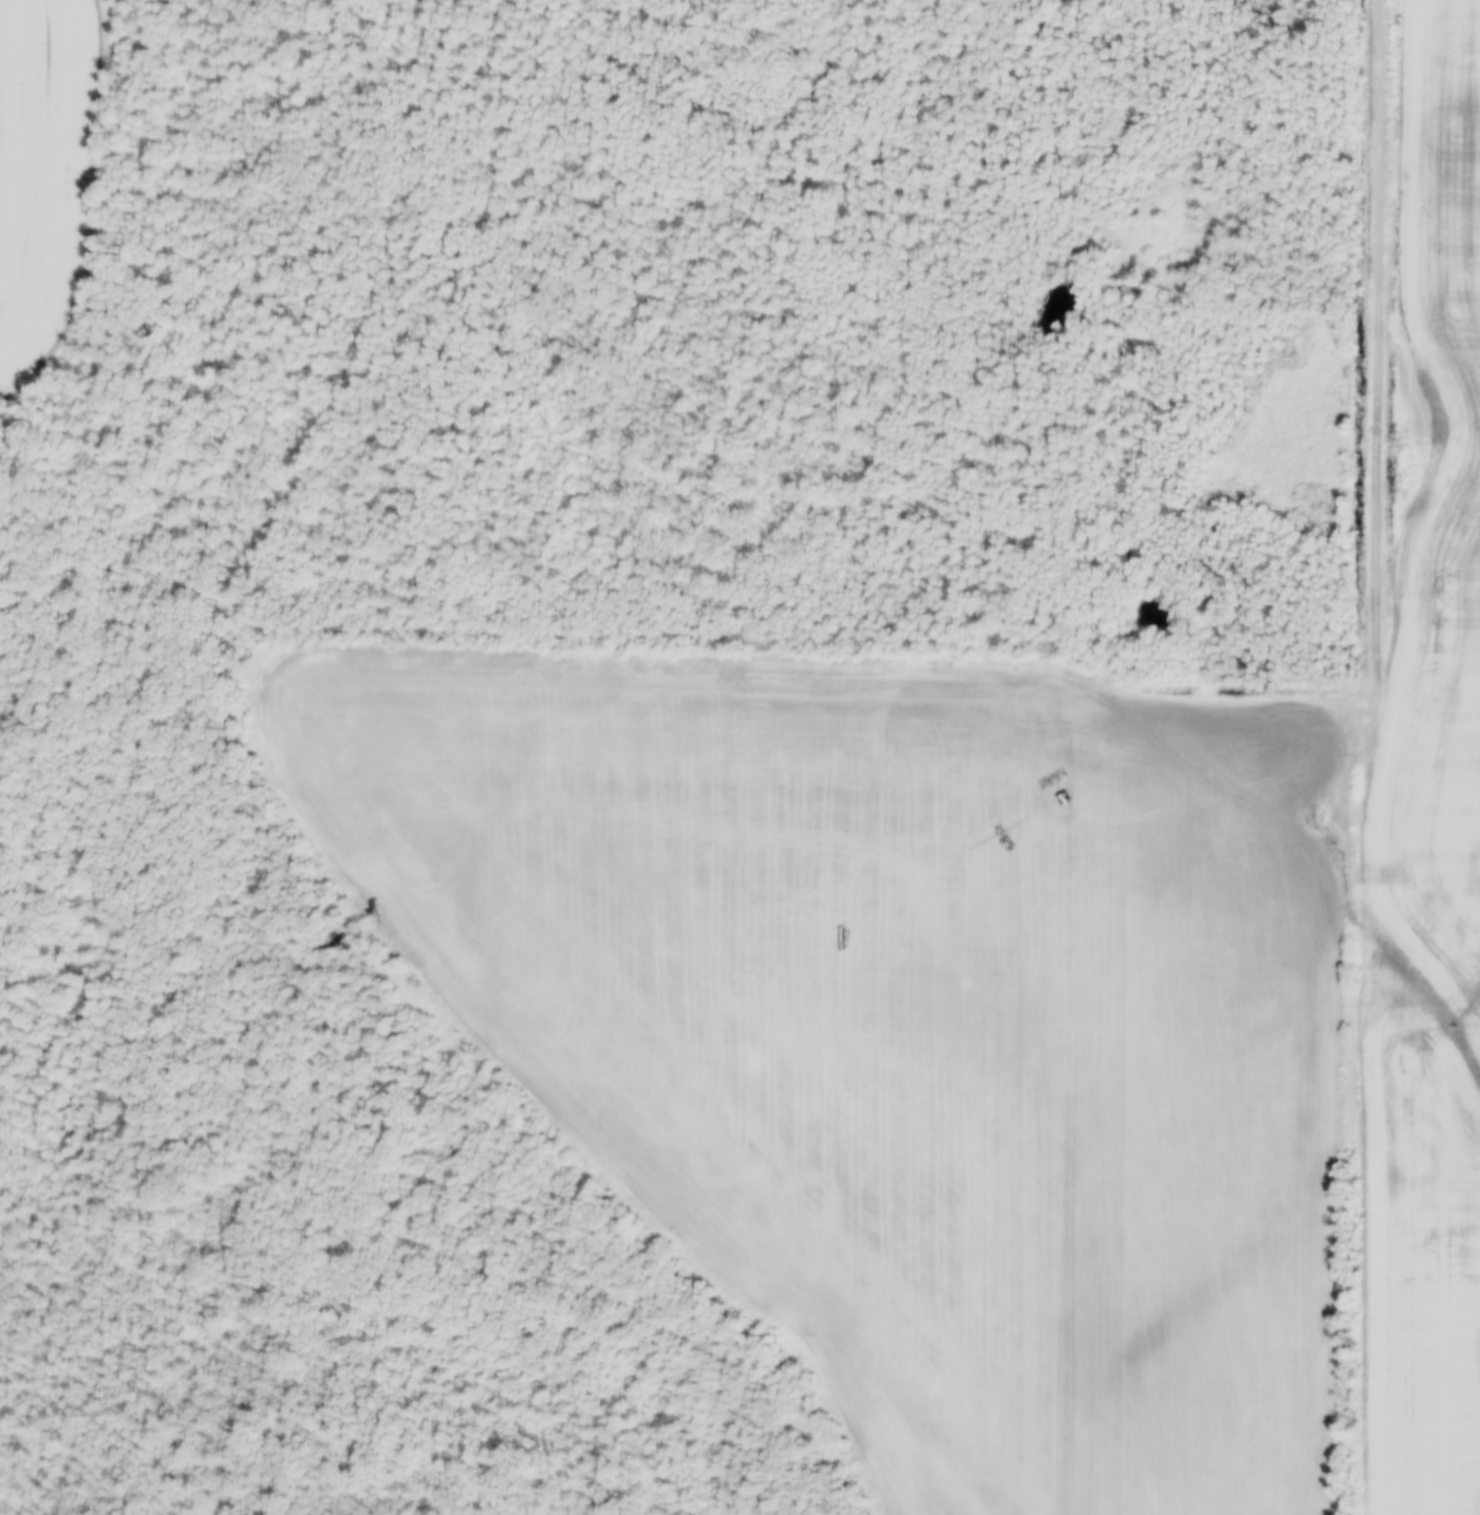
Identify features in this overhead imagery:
road: (1364, 755)

